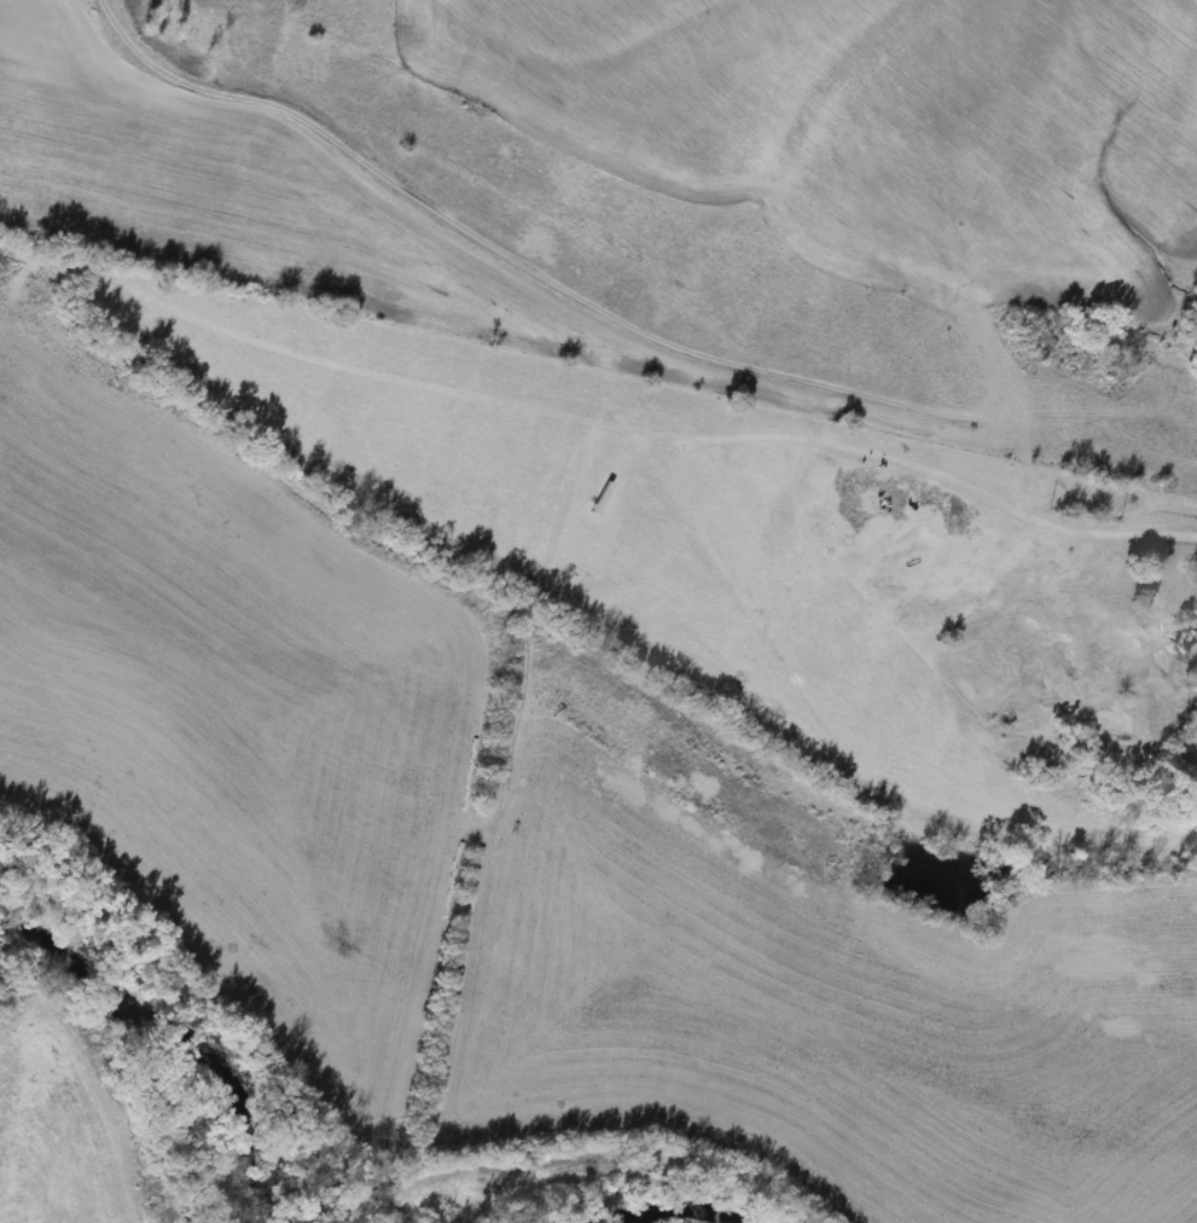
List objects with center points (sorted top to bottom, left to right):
river: (181, 1028)
river: (664, 1210)

